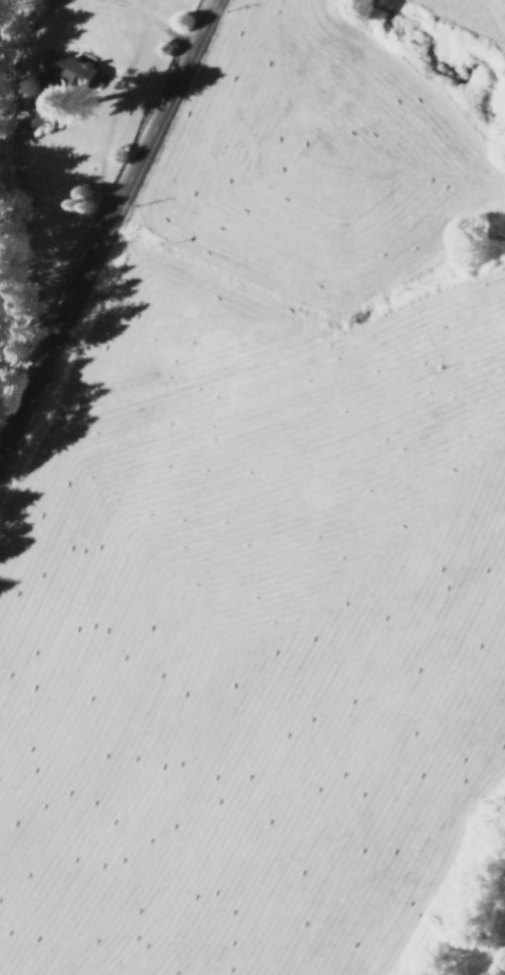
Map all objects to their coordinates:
building: (51, 68)
road: (104, 221)

